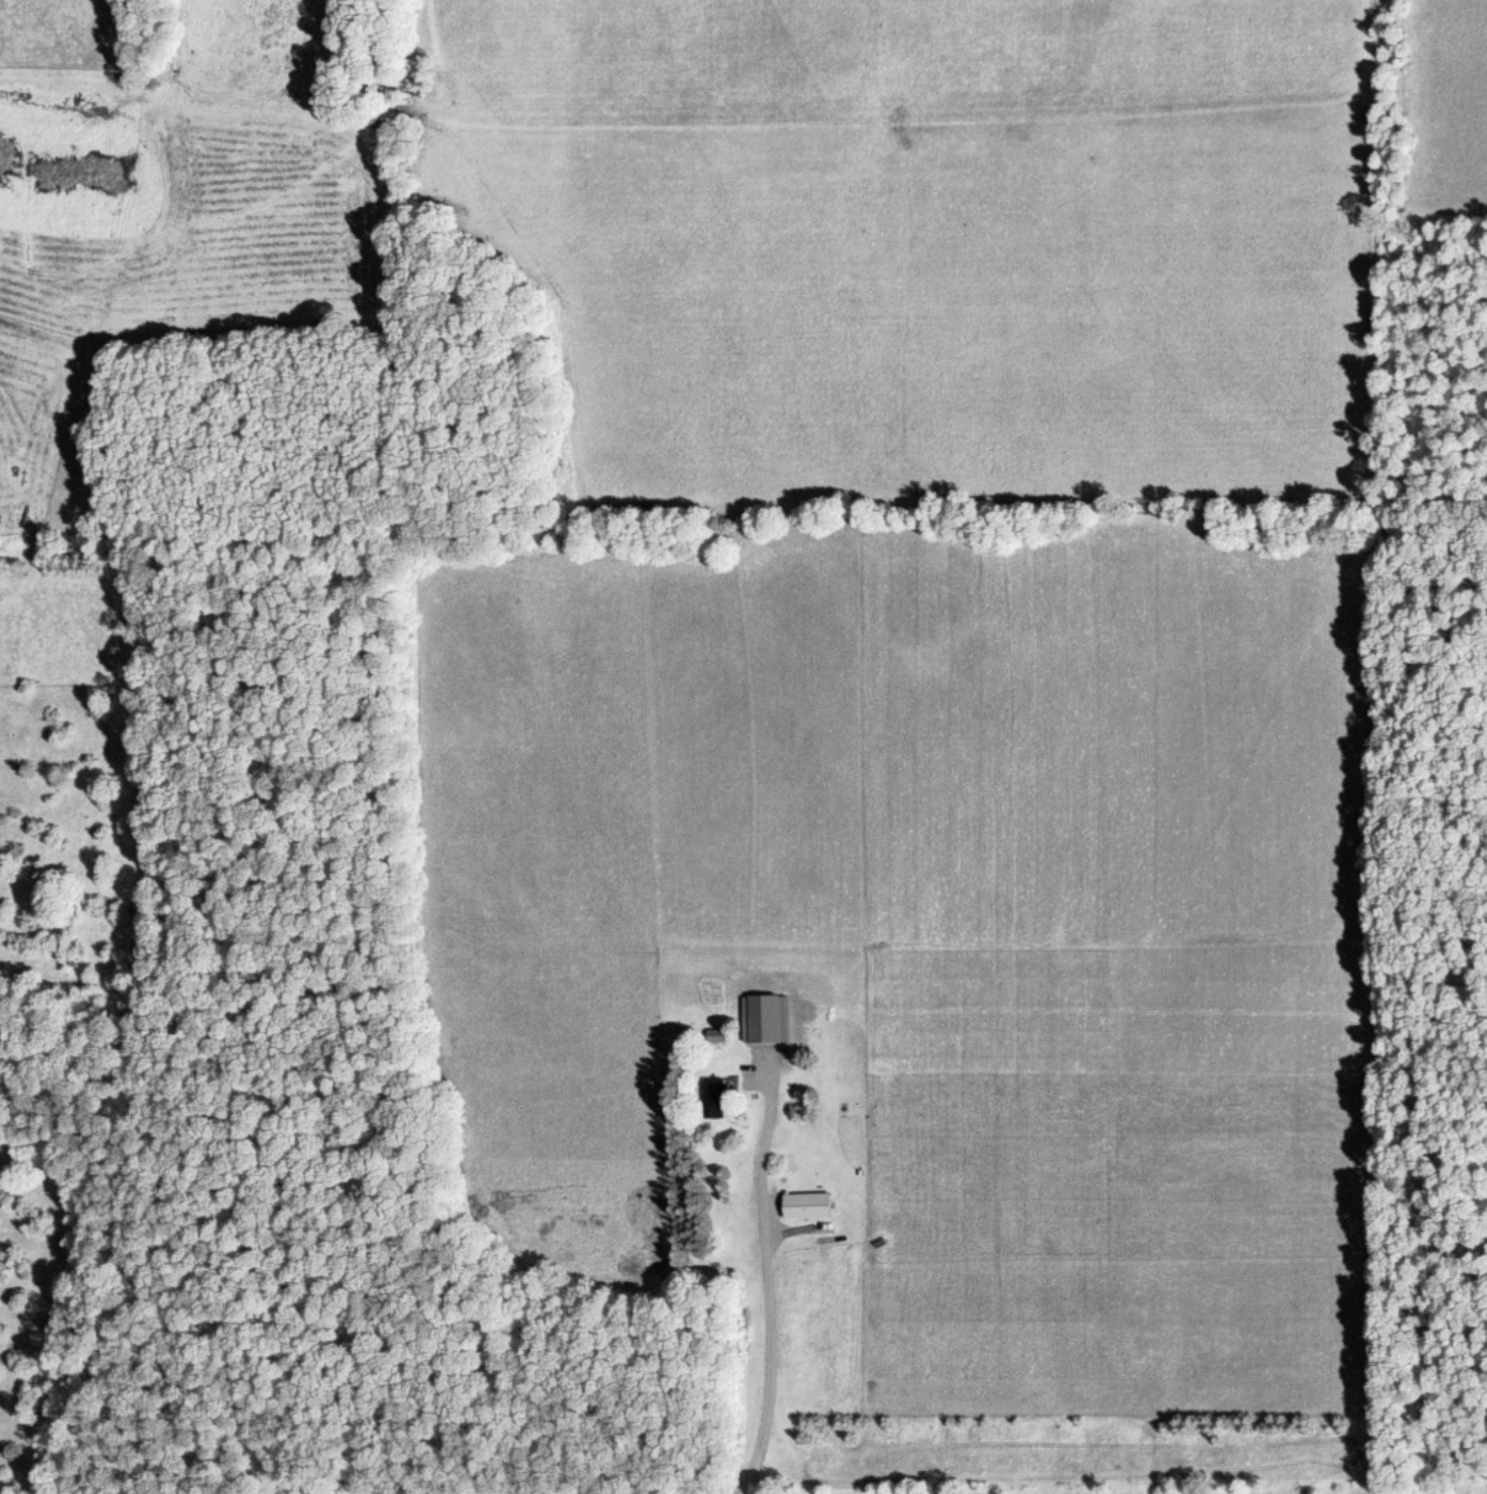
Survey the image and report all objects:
building: (768, 1029)
building: (716, 1099)
building: (812, 1207)
road: (781, 1284)

